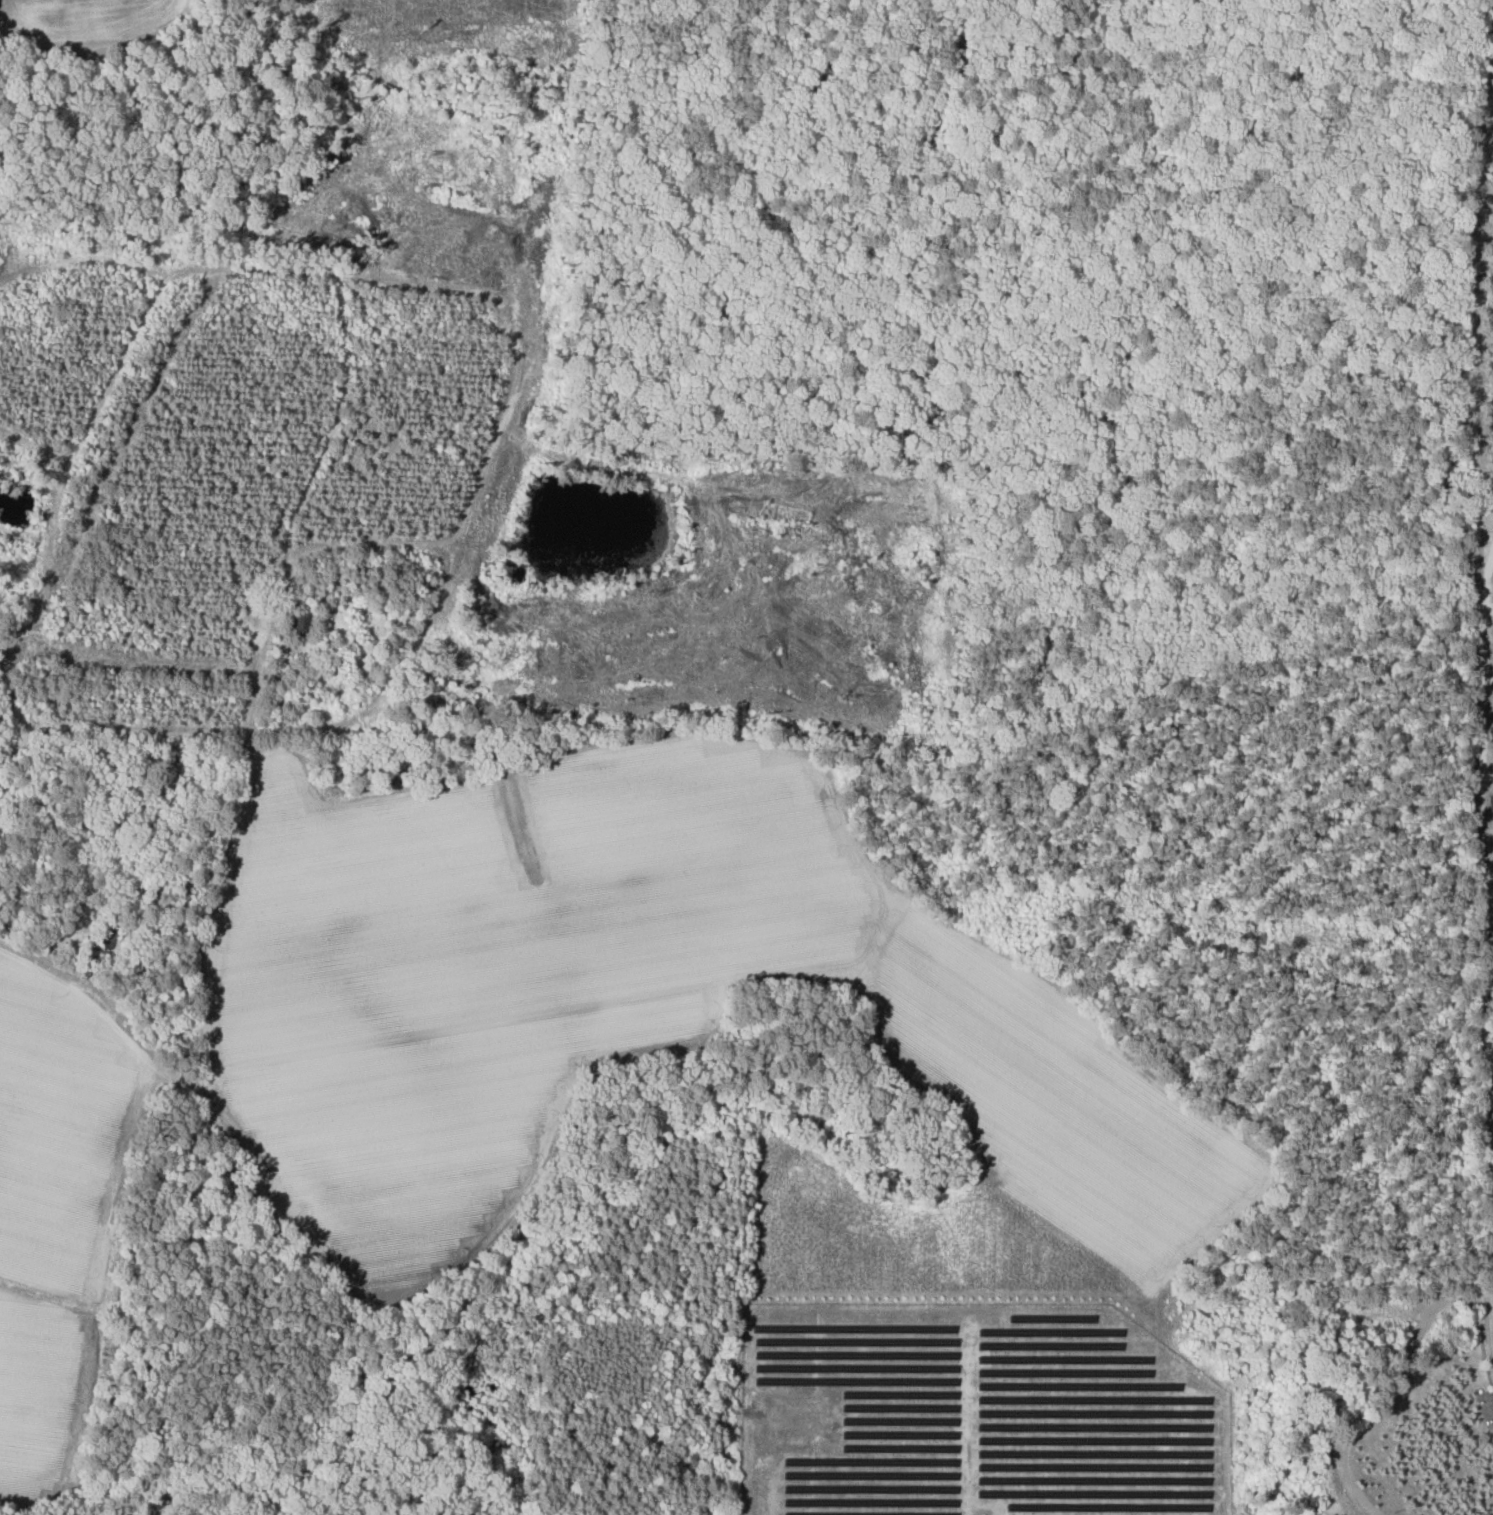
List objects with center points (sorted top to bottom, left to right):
building: (1492, 803)
road: (1491, 1112)

